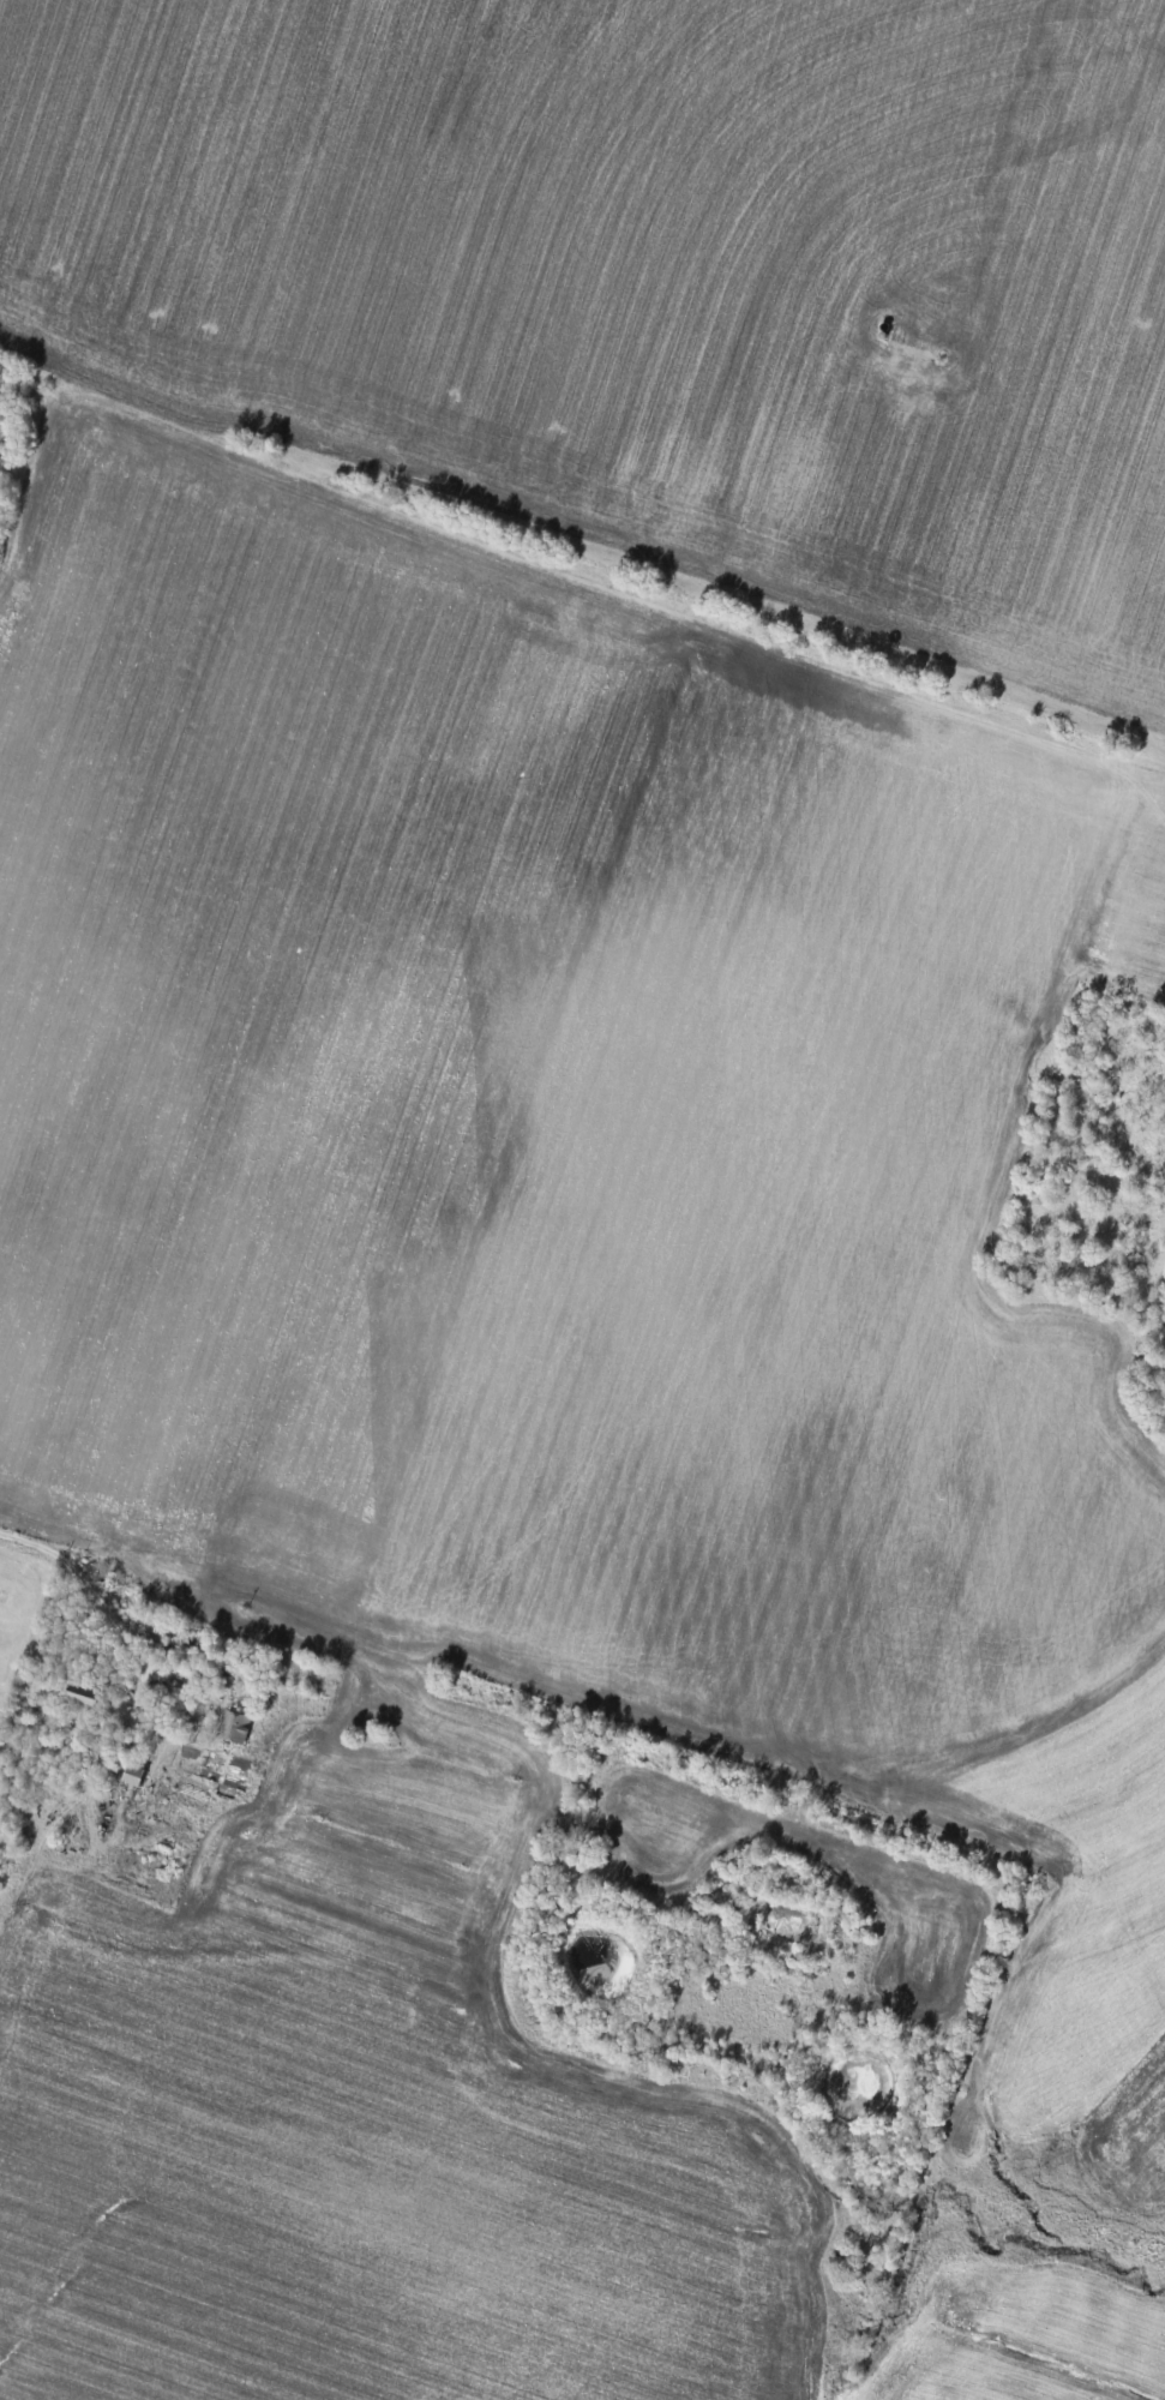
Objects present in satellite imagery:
road: (77, 1577)
building: (234, 1727)
building: (133, 1776)

